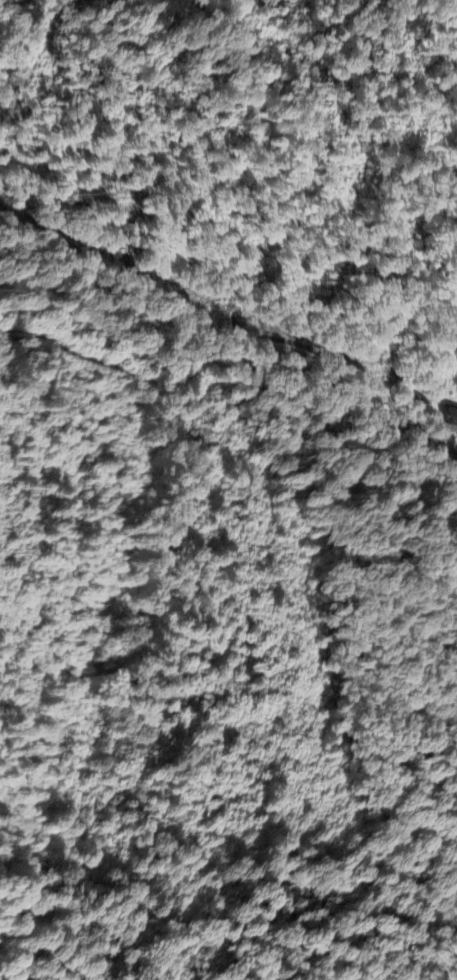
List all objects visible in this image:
building: (450, 419)

